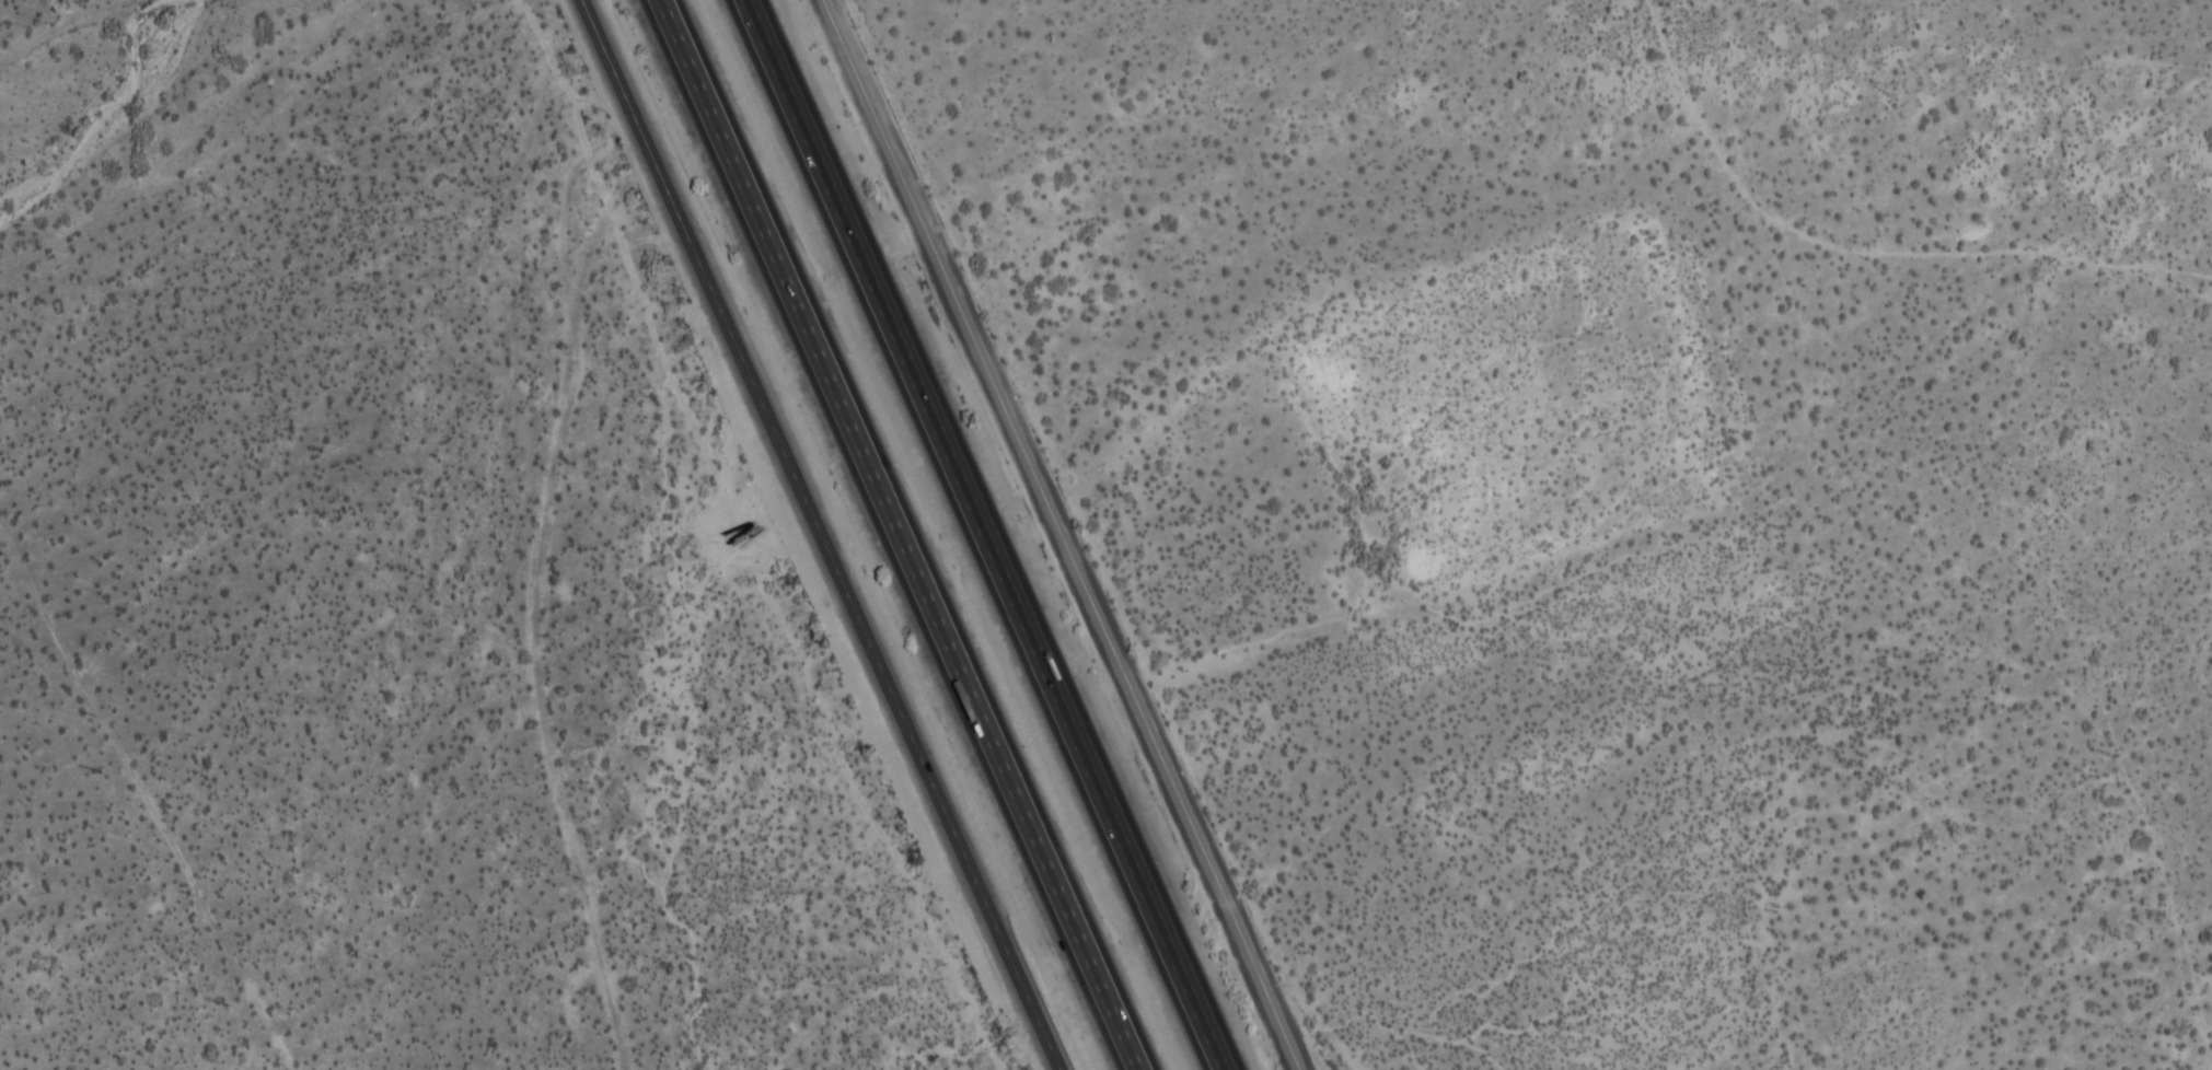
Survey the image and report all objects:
road: (613, 82)
road: (1101, 203)
road: (784, 444)
road: (984, 534)
road: (893, 535)
road: (1065, 535)
road: (570, 613)
road: (992, 897)

